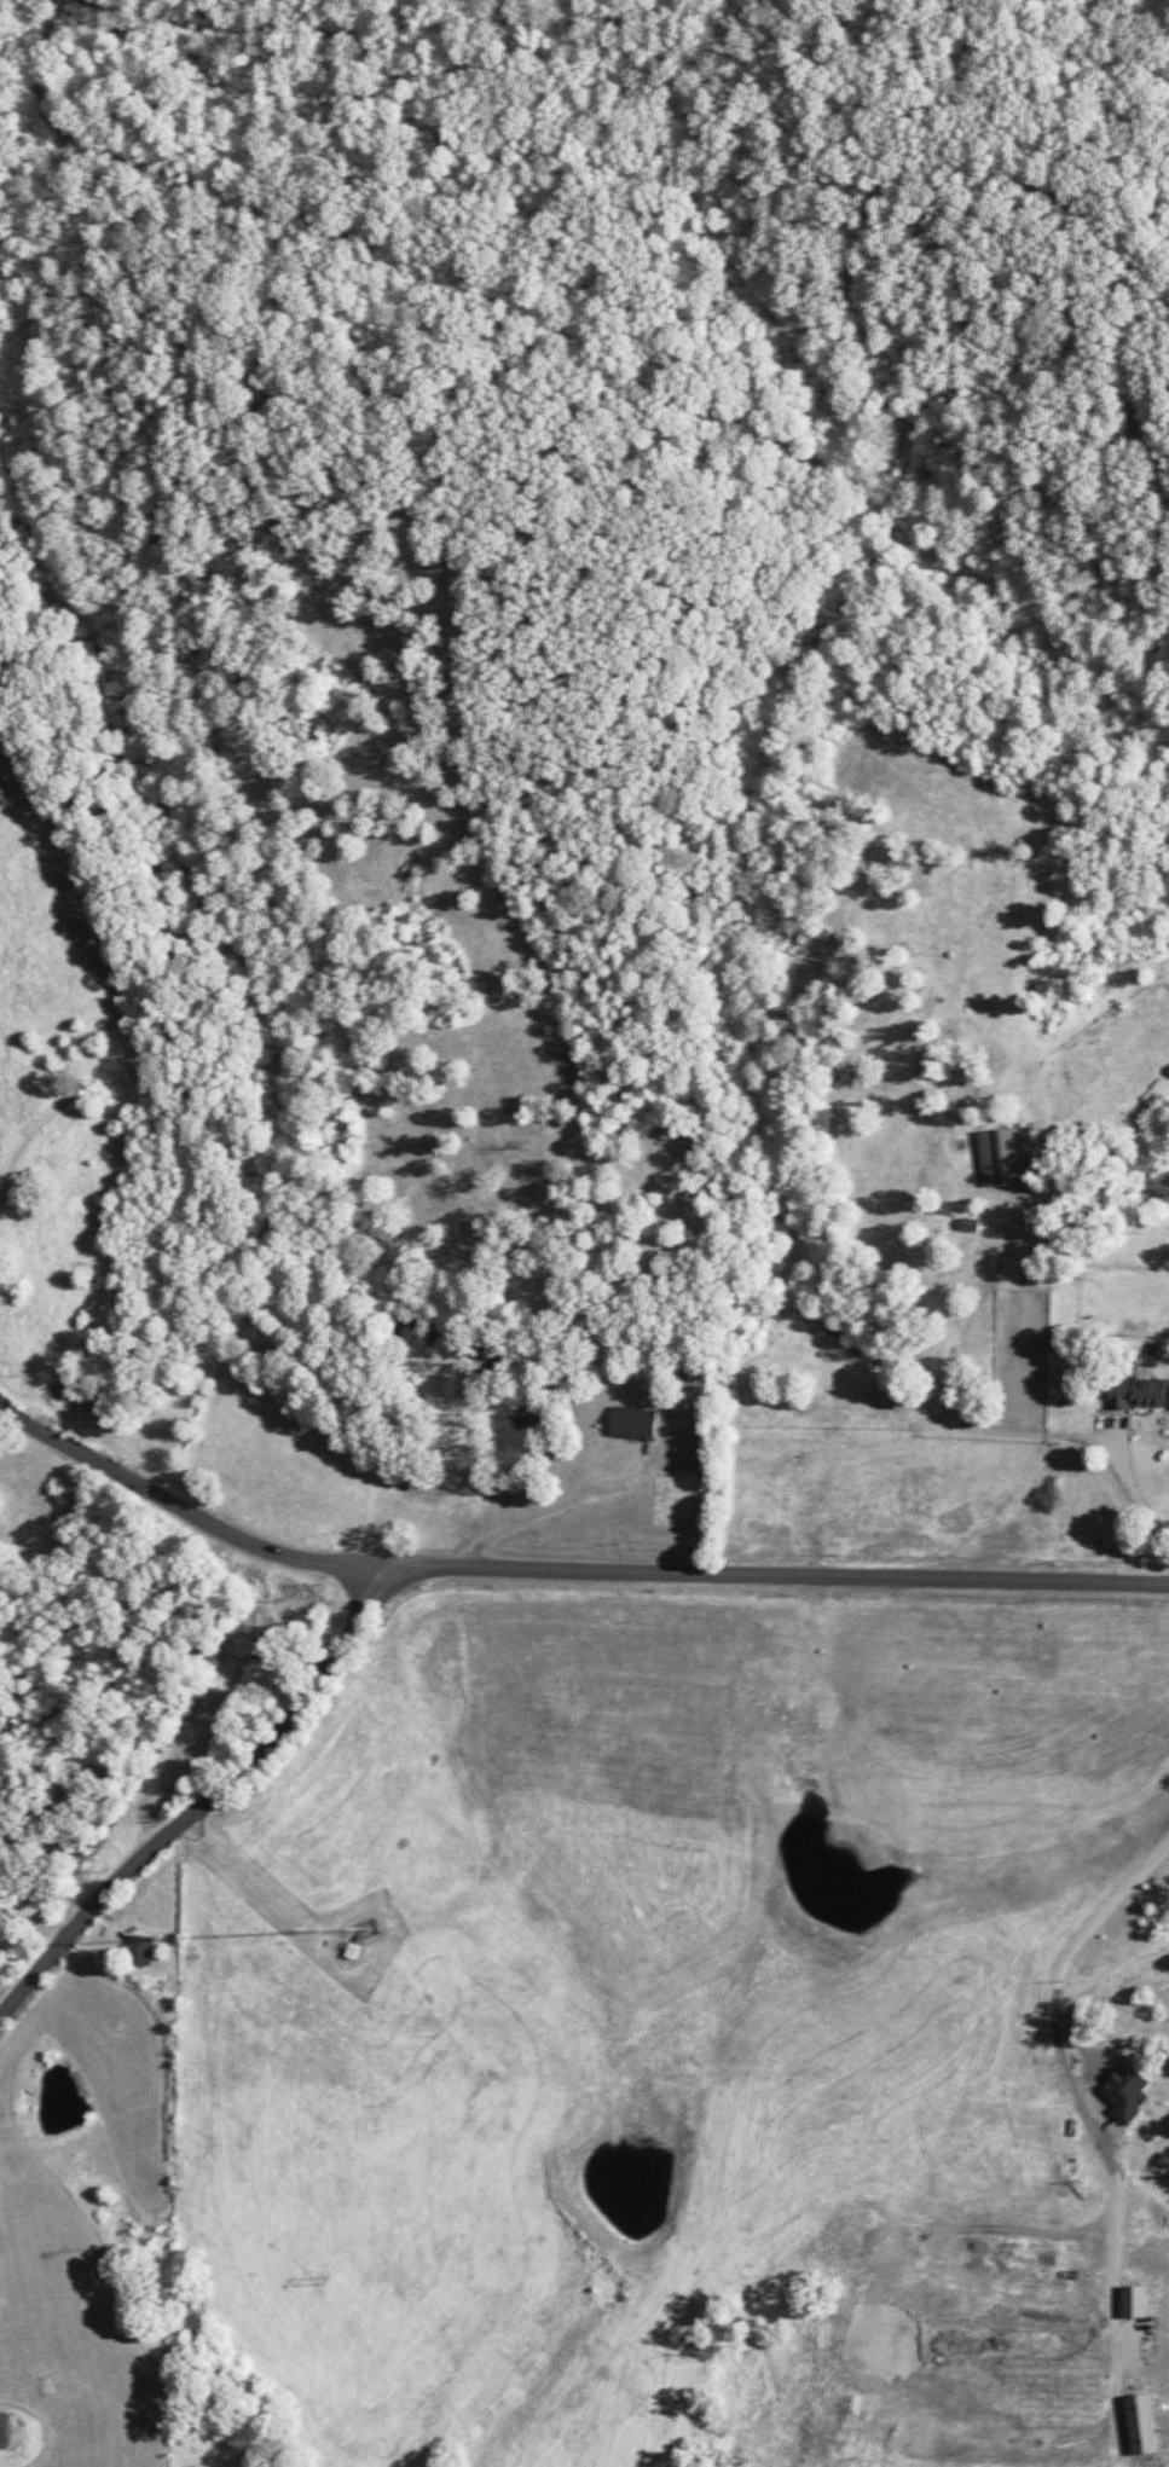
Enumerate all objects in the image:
road: (654, 13)
road: (353, 34)
road: (1140, 383)
road: (442, 396)
road: (698, 407)
building: (1005, 1157)
building: (1136, 1394)
building: (633, 1424)
road: (178, 1506)
road: (770, 1574)
road: (204, 1800)
road: (13, 1880)
road: (12, 1910)
road: (42, 1927)
building: (139, 1950)
building: (1133, 2301)
building: (1140, 2425)
building: (4, 2430)

